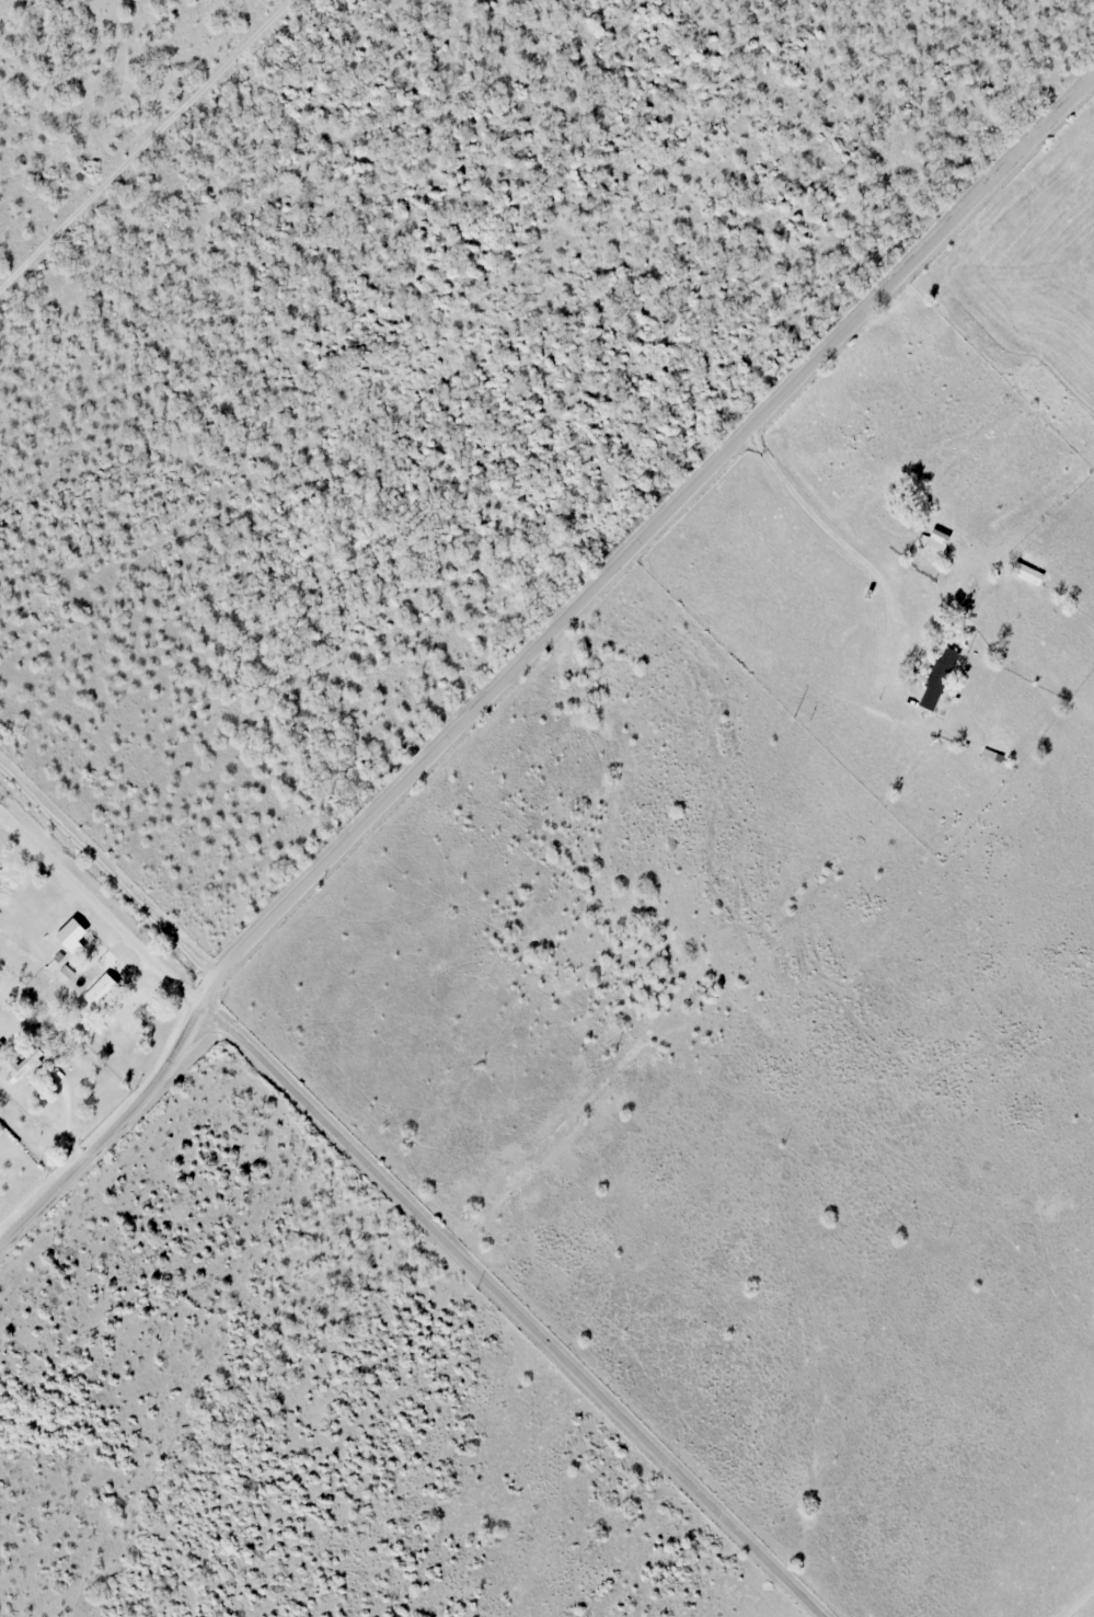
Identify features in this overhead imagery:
road: (831, 526)
building: (941, 540)
building: (1026, 573)
road: (533, 650)
building: (936, 679)
road: (100, 901)
building: (73, 924)
building: (58, 957)
building: (108, 960)
building: (66, 972)
building: (97, 989)
building: (24, 1063)
road: (510, 1309)

